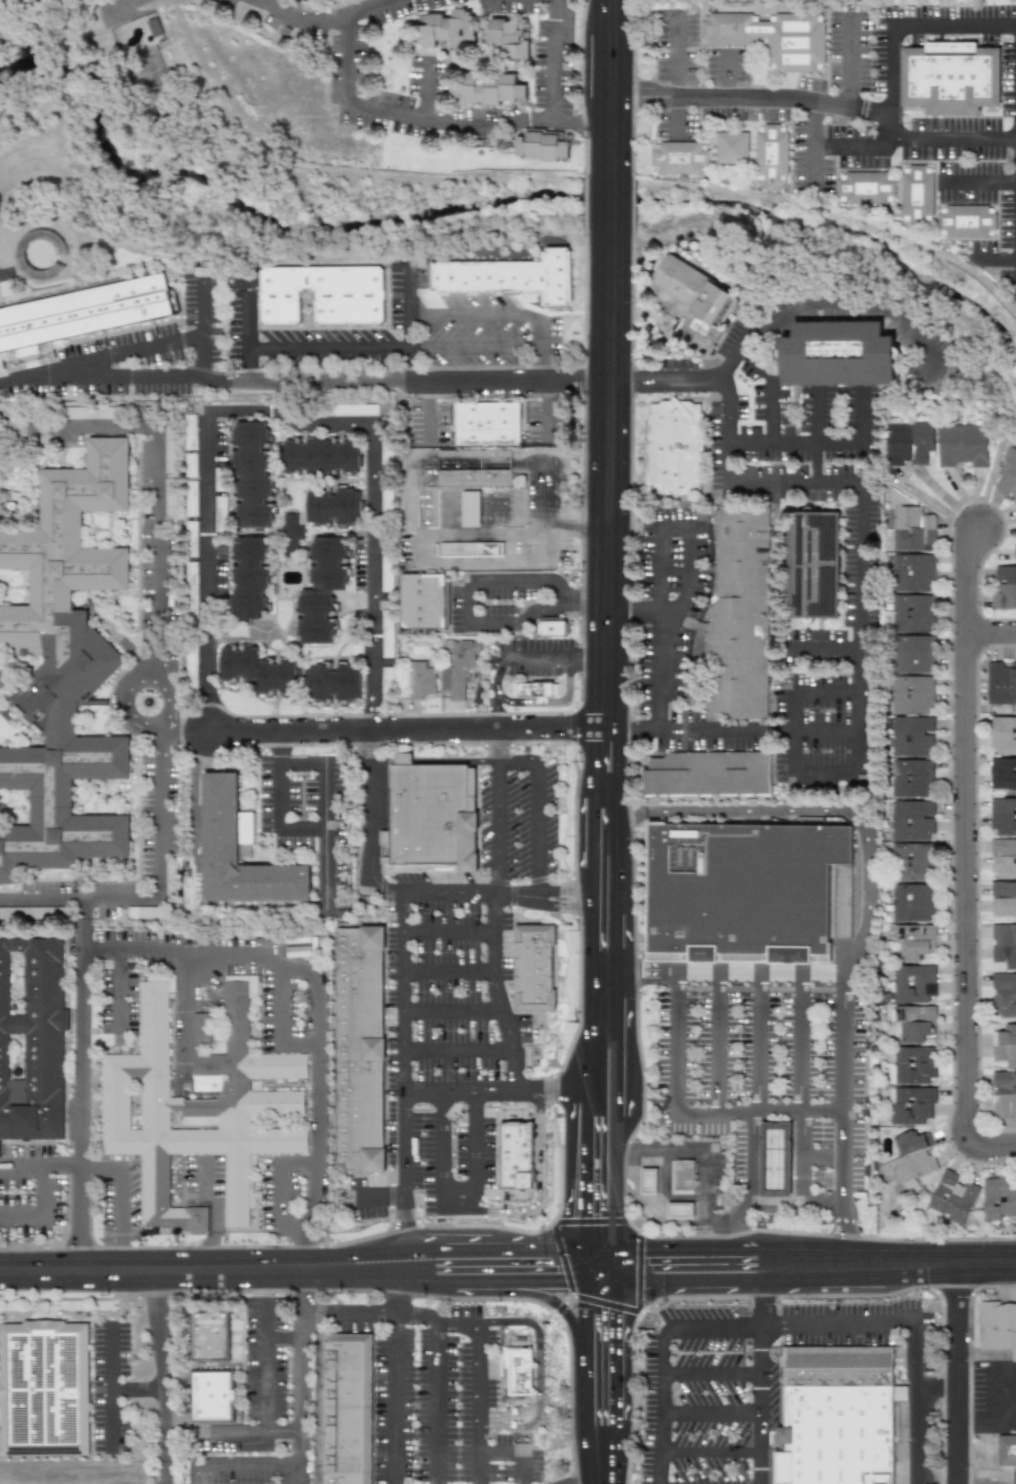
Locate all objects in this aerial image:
road: (120, 4)
road: (370, 11)
road: (305, 15)
road: (953, 26)
building: (454, 35)
building: (777, 38)
building: (514, 40)
road: (677, 45)
road: (553, 53)
road: (848, 60)
road: (890, 60)
road: (345, 64)
road: (728, 66)
building: (955, 78)
road: (610, 86)
road: (645, 88)
road: (426, 89)
road: (678, 89)
building: (492, 90)
road: (729, 90)
road: (785, 100)
road: (644, 103)
road: (551, 113)
road: (815, 115)
road: (890, 119)
road: (436, 121)
road: (568, 121)
road: (953, 136)
road: (1007, 137)
road: (890, 140)
road: (856, 146)
building: (546, 147)
building: (733, 148)
road: (821, 148)
building: (771, 153)
road: (813, 154)
building: (680, 158)
road: (979, 184)
building: (866, 186)
building: (917, 193)
road: (609, 202)
building: (967, 221)
road: (986, 258)
road: (1006, 258)
building: (511, 278)
building: (324, 295)
road: (408, 301)
building: (691, 301)
road: (840, 309)
building: (85, 313)
road: (473, 314)
road: (244, 322)
road: (201, 328)
road: (326, 348)
road: (474, 348)
road: (541, 348)
road: (118, 353)
building: (837, 353)
road: (408, 357)
road: (248, 364)
road: (105, 378)
road: (223, 380)
road: (674, 381)
road: (423, 383)
road: (723, 384)
road: (771, 387)
road: (430, 393)
road: (546, 411)
road: (863, 417)
road: (289, 418)
road: (430, 421)
road: (92, 423)
building: (489, 424)
road: (817, 437)
road: (726, 439)
building: (908, 442)
road: (794, 443)
building: (961, 445)
building: (677, 450)
building: (324, 459)
building: (477, 471)
road: (207, 476)
building: (1007, 477)
building: (254, 478)
road: (794, 483)
road: (935, 505)
building: (469, 508)
building: (336, 510)
road: (580, 521)
road: (673, 526)
building: (912, 529)
road: (483, 532)
building: (292, 535)
road: (158, 550)
building: (474, 552)
building: (1014, 552)
road: (450, 560)
building: (814, 565)
building: (912, 573)
road: (373, 577)
road: (207, 578)
road: (509, 580)
building: (254, 582)
road: (860, 587)
building: (1004, 588)
road: (557, 589)
building: (324, 594)
road: (586, 599)
road: (681, 601)
road: (469, 602)
building: (426, 605)
road: (537, 609)
building: (912, 613)
road: (661, 618)
building: (742, 619)
road: (490, 622)
building: (551, 628)
road: (607, 629)
road: (991, 634)
road: (824, 647)
building: (911, 654)
road: (537, 656)
road: (587, 658)
building: (457, 669)
building: (65, 672)
road: (207, 675)
building: (260, 675)
building: (418, 679)
building: (1000, 683)
building: (339, 687)
road: (167, 688)
building: (531, 689)
road: (826, 690)
road: (495, 691)
building: (909, 694)
road: (551, 701)
road: (654, 720)
road: (182, 730)
road: (406, 731)
road: (630, 731)
road: (708, 731)
road: (779, 731)
road: (823, 731)
road: (854, 732)
road: (859, 733)
road: (796, 734)
building: (1003, 735)
building: (911, 736)
road: (434, 762)
road: (504, 762)
road: (287, 764)
building: (1002, 772)
road: (828, 777)
building: (712, 778)
building: (911, 778)
road: (159, 811)
road: (818, 811)
building: (429, 816)
building: (1002, 816)
road: (280, 819)
building: (911, 820)
building: (223, 822)
road: (500, 828)
road: (538, 834)
road: (326, 839)
building: (384, 847)
road: (966, 854)
building: (1003, 857)
building: (912, 861)
building: (744, 892)
road: (411, 893)
building: (1003, 898)
road: (79, 901)
building: (912, 903)
road: (84, 909)
road: (449, 932)
road: (84, 934)
building: (912, 941)
building: (1004, 944)
building: (533, 968)
road: (449, 972)
road: (719, 973)
building: (913, 983)
road: (121, 990)
road: (498, 994)
building: (1003, 994)
road: (453, 1011)
road: (318, 1013)
road: (184, 1020)
road: (280, 1022)
building: (914, 1023)
road: (801, 1042)
building: (31, 1043)
road: (678, 1043)
road: (720, 1043)
road: (761, 1043)
building: (1005, 1045)
building: (356, 1050)
road: (459, 1051)
road: (586, 1058)
building: (912, 1065)
road: (613, 1070)
road: (404, 1072)
parking lot: (768, 1076)
road: (845, 1086)
road: (495, 1092)
building: (1004, 1095)
building: (910, 1104)
road: (79, 1109)
building: (200, 1110)
road: (760, 1113)
road: (693, 1151)
building: (514, 1155)
road: (804, 1156)
building: (911, 1156)
road: (753, 1157)
road: (798, 1157)
building: (779, 1162)
gas station: (779, 1162)
road: (61, 1165)
road: (585, 1171)
road: (534, 1176)
building: (682, 1176)
road: (282, 1178)
building: (647, 1181)
road: (613, 1183)
building: (951, 1197)
building: (998, 1197)
road: (381, 1199)
road: (646, 1199)
road: (456, 1202)
road: (813, 1202)
road: (476, 1207)
building: (678, 1209)
road: (43, 1212)
road: (217, 1212)
traffic signals: (585, 1213)
road: (123, 1219)
road: (674, 1221)
road: (508, 1250)
road: (599, 1250)
traffic signals: (649, 1250)
road: (713, 1250)
road: (376, 1253)
road: (914, 1264)
traffic signals: (924, 1264)
road: (585, 1265)
road: (613, 1265)
road: (161, 1268)
road: (376, 1279)
road: (599, 1280)
road: (713, 1280)
road: (509, 1281)
traffic signals: (547, 1281)
road: (1014, 1284)
road: (520, 1292)
road: (396, 1314)
traffic signals: (613, 1315)
road: (710, 1327)
road: (873, 1327)
building: (998, 1328)
building: (209, 1336)
road: (286, 1339)
road: (613, 1352)
building: (836, 1368)
road: (303, 1369)
building: (519, 1372)
road: (713, 1374)
road: (954, 1374)
road: (165, 1375)
road: (541, 1376)
road: (584, 1376)
road: (396, 1381)
road: (764, 1381)
road: (112, 1388)
building: (44, 1390)
road: (138, 1391)
building: (899, 1393)
building: (212, 1396)
road: (319, 1399)
road: (267, 1401)
road: (482, 1403)
road: (439, 1404)
building: (346, 1410)
road: (662, 1412)
road: (713, 1414)
road: (1003, 1417)
road: (918, 1418)
road: (285, 1433)
building: (836, 1435)
road: (607, 1447)
road: (520, 1451)
road: (712, 1451)
building: (1008, 1453)
road: (250, 1466)
road: (601, 1476)
power substation: (1015, 1477)

